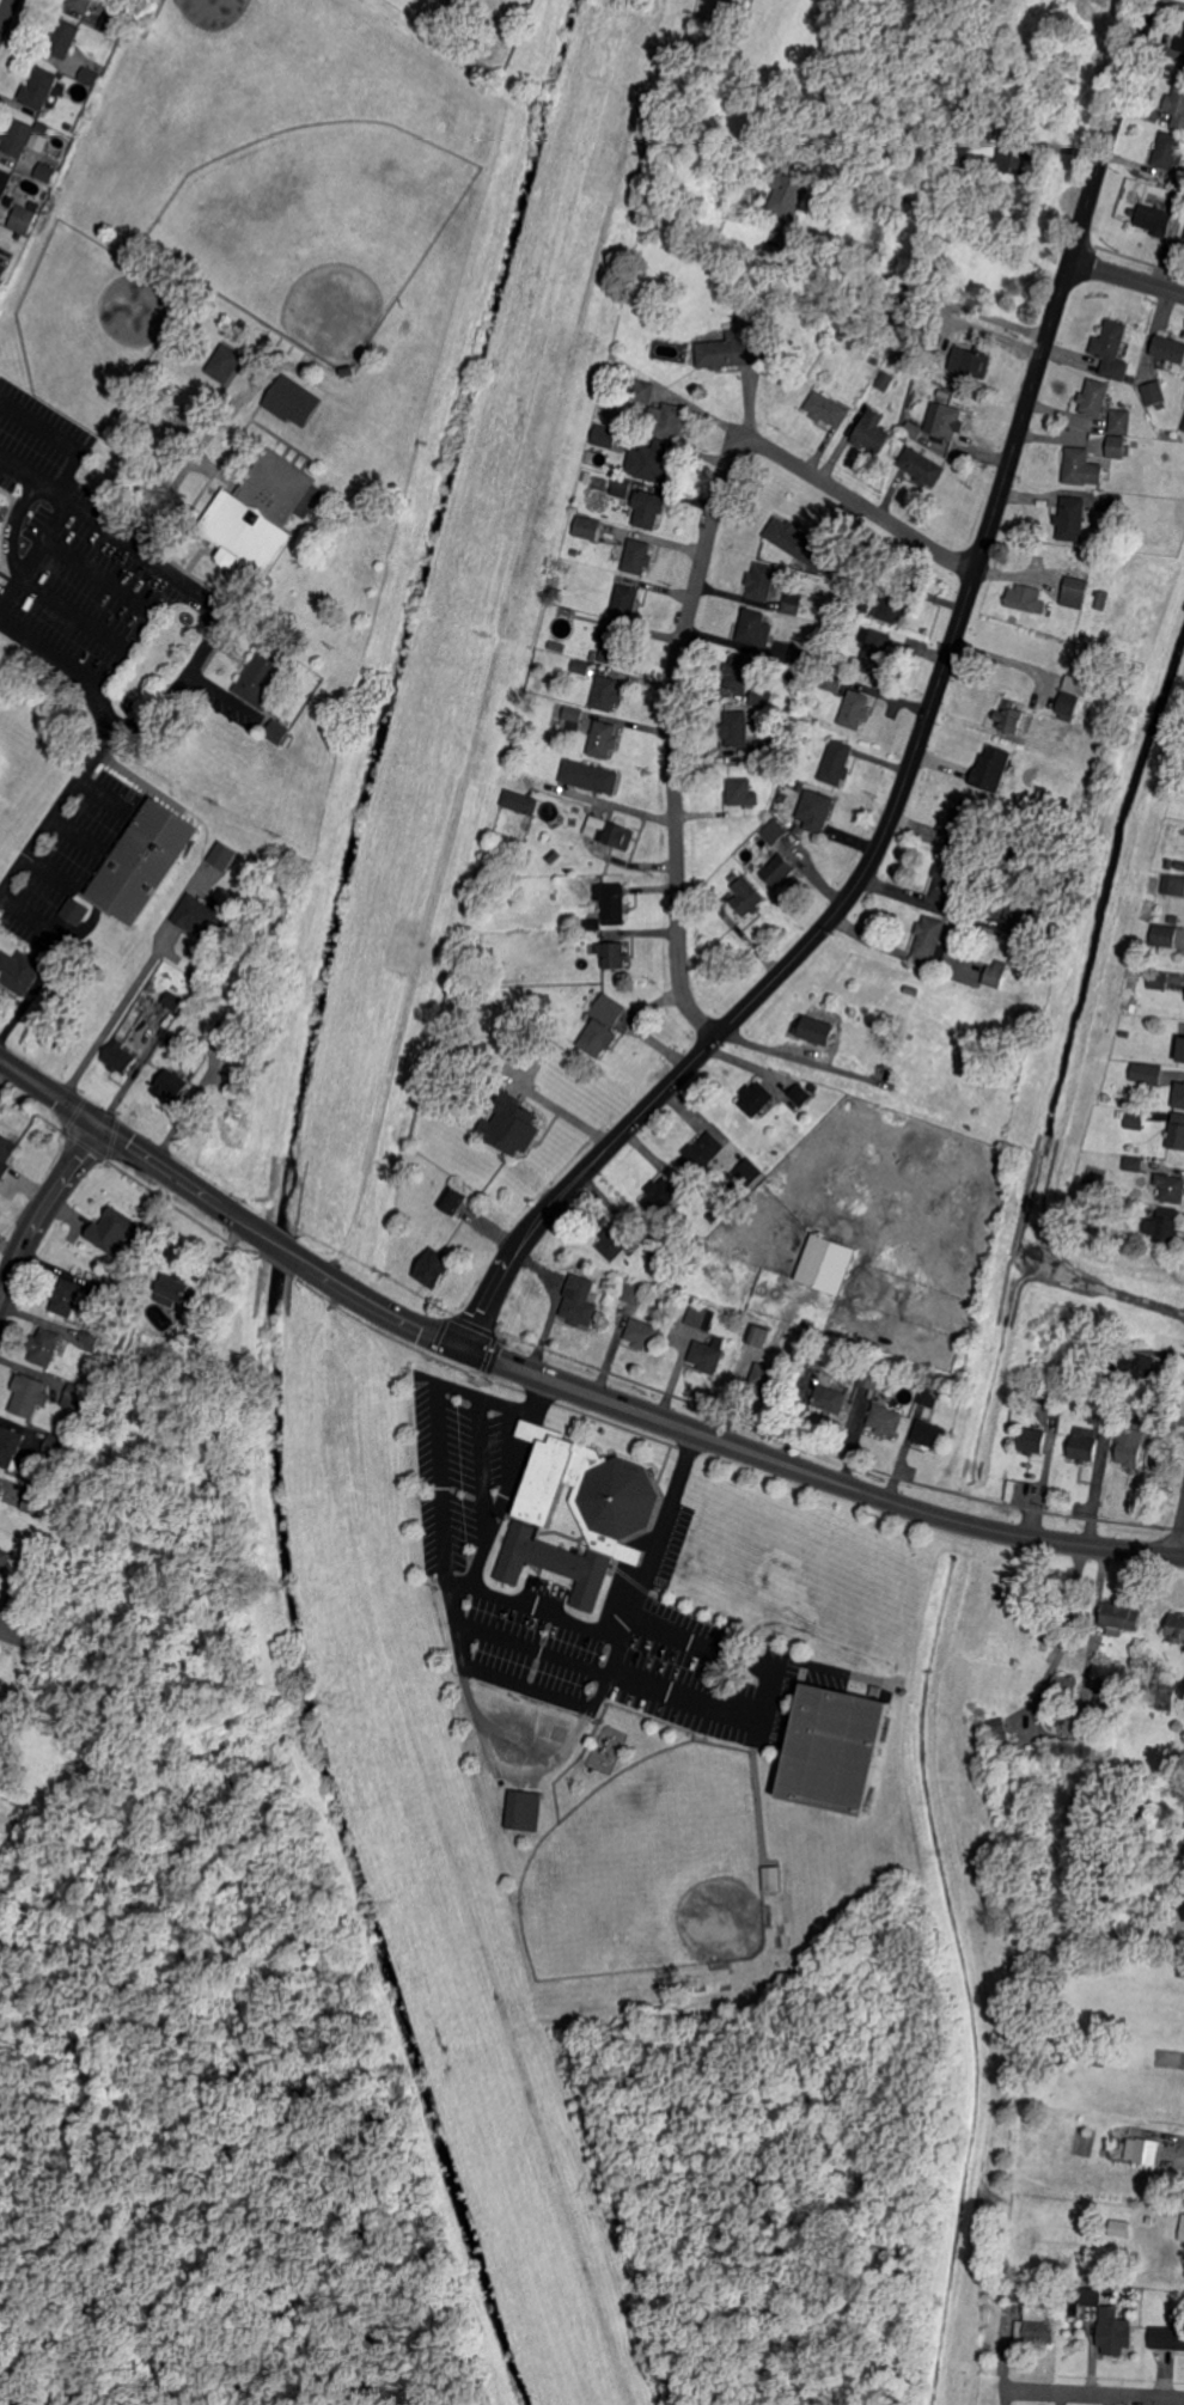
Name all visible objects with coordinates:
building: (81, 6)
road: (6, 13)
building: (450, 17)
building: (112, 24)
building: (61, 43)
building: (1179, 43)
building: (90, 78)
park: (231, 85)
building: (39, 92)
building: (1176, 109)
building: (77, 116)
building: (43, 128)
building: (17, 138)
building: (1168, 152)
building: (959, 158)
building: (1015, 164)
building: (45, 175)
building: (5, 183)
building: (16, 184)
building: (791, 190)
building: (23, 220)
building: (1158, 224)
park: (316, 226)
building: (698, 249)
building: (2, 273)
road: (1125, 275)
road: (914, 288)
building: (181, 299)
building: (904, 315)
park: (90, 324)
building: (910, 338)
building: (1110, 346)
building: (736, 349)
building: (1170, 352)
building: (226, 364)
building: (972, 365)
building: (350, 377)
building: (885, 381)
building: (643, 395)
building: (1155, 397)
building: (1095, 402)
building: (291, 404)
building: (825, 414)
building: (672, 421)
building: (948, 423)
building: (1121, 425)
building: (1182, 425)
building: (911, 431)
building: (1183, 432)
building: (869, 435)
building: (604, 437)
building: (904, 440)
building: (1135, 444)
building: (1118, 450)
building: (655, 462)
building: (1081, 468)
building: (921, 471)
building: (621, 488)
building: (1113, 502)
building: (5, 509)
building: (648, 509)
building: (261, 513)
road: (53, 517)
building: (1072, 518)
building: (0, 519)
building: (587, 529)
road: (13, 537)
building: (798, 541)
building: (574, 553)
building: (637, 556)
building: (842, 572)
road: (97, 574)
building: (762, 581)
road: (195, 588)
building: (1075, 592)
building: (1025, 598)
building: (1101, 598)
building: (625, 600)
building: (792, 603)
road: (690, 605)
building: (865, 605)
building: (892, 605)
building: (856, 619)
building: (755, 627)
building: (615, 646)
building: (874, 649)
building: (594, 654)
building: (802, 657)
building: (581, 666)
road: (80, 670)
building: (738, 671)
building: (264, 675)
building: (832, 679)
building: (1075, 683)
building: (606, 692)
building: (762, 696)
road: (160, 701)
building: (1068, 706)
building: (855, 709)
building: (573, 716)
building: (1009, 716)
building: (736, 728)
building: (786, 728)
building: (279, 732)
road: (917, 735)
building: (604, 739)
building: (768, 750)
building: (837, 762)
building: (993, 769)
road: (127, 771)
building: (513, 774)
building: (591, 776)
building: (799, 787)
building: (741, 792)
building: (781, 798)
building: (520, 801)
road: (55, 807)
building: (816, 810)
building: (964, 822)
building: (609, 831)
building: (774, 831)
road: (73, 834)
building: (1081, 848)
building: (221, 856)
building: (1007, 859)
building: (145, 861)
building: (1171, 862)
building: (1180, 866)
road: (49, 871)
building: (779, 871)
building: (733, 875)
building: (948, 880)
building: (1174, 884)
building: (747, 897)
building: (612, 902)
building: (1020, 903)
building: (77, 910)
road: (30, 915)
building: (201, 918)
building: (591, 921)
building: (1014, 922)
building: (567, 926)
building: (1165, 934)
building: (929, 939)
building: (614, 953)
building: (20, 971)
building: (995, 975)
building: (1159, 978)
building: (498, 979)
building: (523, 993)
building: (172, 1000)
building: (523, 1008)
building: (850, 1011)
road: (116, 1015)
building: (602, 1024)
building: (816, 1030)
building: (232, 1031)
building: (1125, 1033)
building: (1182, 1050)
building: (890, 1054)
building: (120, 1056)
building: (1152, 1074)
building: (171, 1087)
building: (800, 1094)
building: (1179, 1094)
building: (1106, 1097)
building: (756, 1098)
road: (556, 1105)
building: (1122, 1113)
road: (43, 1119)
building: (1136, 1119)
building: (513, 1125)
building: (1177, 1131)
road: (130, 1140)
building: (1134, 1148)
building: (702, 1153)
building: (6, 1154)
building: (1134, 1164)
building: (749, 1172)
building: (1092, 1176)
building: (1171, 1186)
building: (661, 1196)
building: (453, 1198)
road: (44, 1209)
building: (713, 1215)
building: (1165, 1225)
building: (112, 1231)
road: (279, 1240)
building: (615, 1240)
building: (1121, 1240)
building: (659, 1257)
building: (825, 1264)
building: (434, 1268)
building: (111, 1290)
building: (176, 1290)
building: (634, 1293)
building: (67, 1296)
building: (579, 1301)
building: (696, 1316)
building: (643, 1333)
building: (758, 1335)
building: (91, 1337)
building: (45, 1347)
building: (1094, 1348)
traffic signals: (465, 1349)
building: (146, 1350)
building: (708, 1353)
building: (816, 1356)
building: (1140, 1368)
building: (872, 1375)
building: (769, 1377)
building: (30, 1394)
building: (1048, 1394)
building: (930, 1396)
building: (75, 1397)
building: (831, 1397)
building: (1110, 1400)
building: (1166, 1418)
building: (886, 1420)
building: (1131, 1432)
building: (932, 1434)
building: (1033, 1440)
road: (727, 1442)
building: (10, 1445)
building: (56, 1446)
building: (1085, 1448)
building: (1, 1488)
building: (37, 1502)
building: (579, 1510)
road: (1182, 1549)
building: (5, 1561)
building: (1119, 1617)
building: (1043, 1628)
building: (1176, 1628)
road: (16, 1634)
road: (1061, 1638)
road: (621, 1677)
building: (1064, 1686)
building: (1162, 1696)
building: (1113, 1697)
building: (1001, 1742)
building: (835, 1750)
building: (523, 1811)
park: (649, 1869)
building: (770, 1876)
building: (1099, 2062)
building: (1142, 2151)
building: (1151, 2218)
building: (1118, 2224)
building: (1182, 2230)
building: (1023, 2289)
building: (1097, 2296)
building: (1043, 2328)
building: (1115, 2332)
building: (1168, 2334)
road: (1092, 2394)

